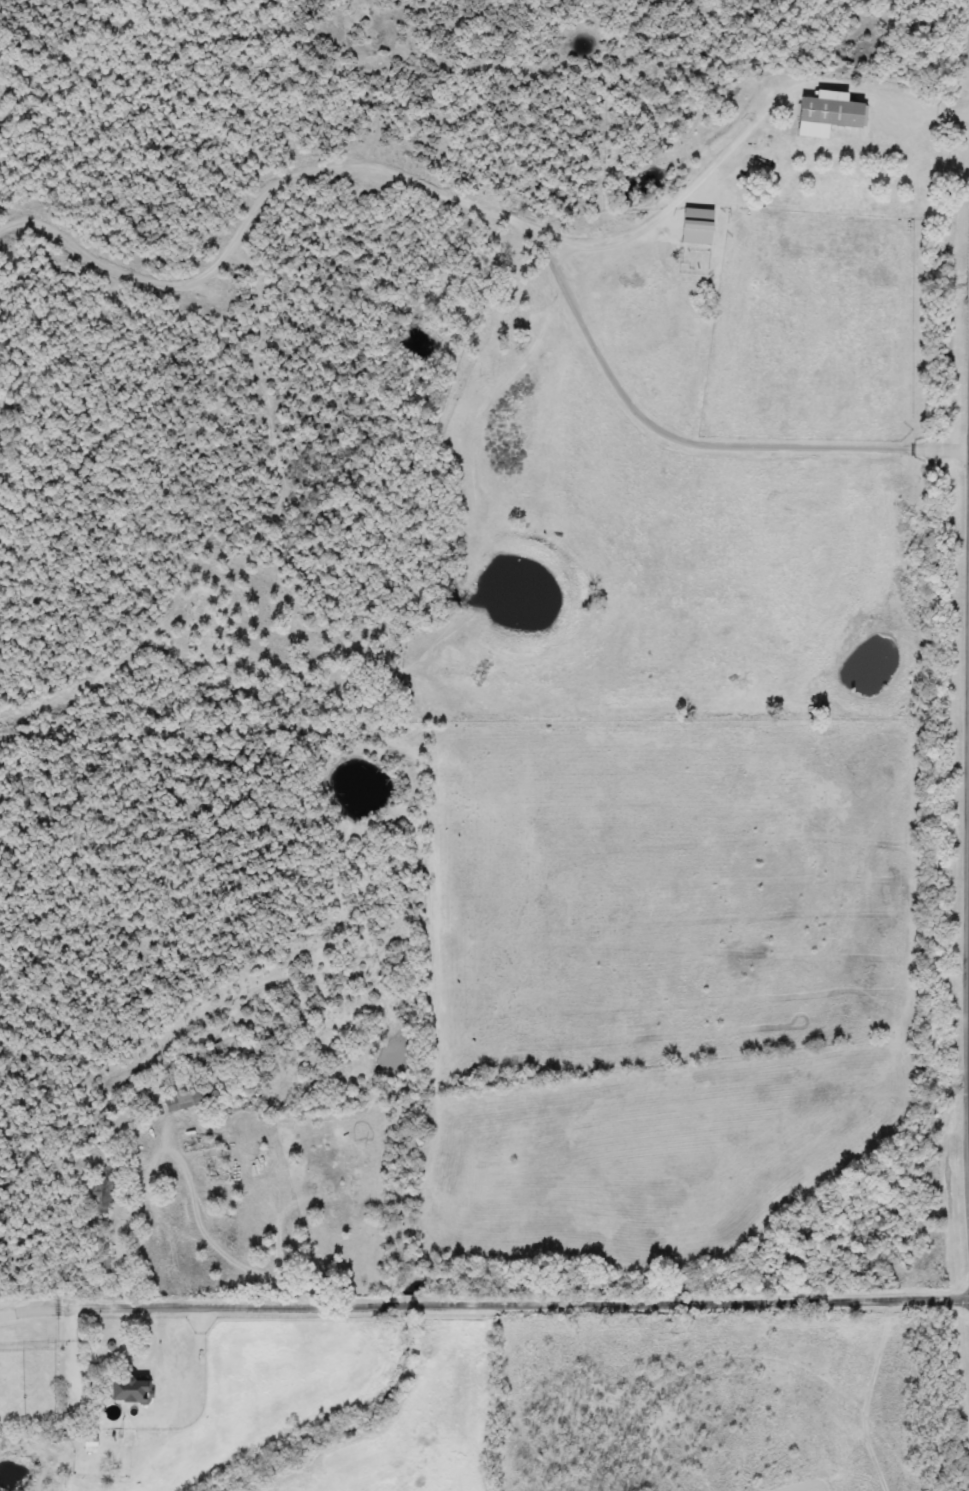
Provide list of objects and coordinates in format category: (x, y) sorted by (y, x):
building: (827, 110)
building: (181, 1100)
road: (217, 1242)
building: (102, 1266)
road: (638, 1296)
road: (153, 1303)
building: (124, 1389)

